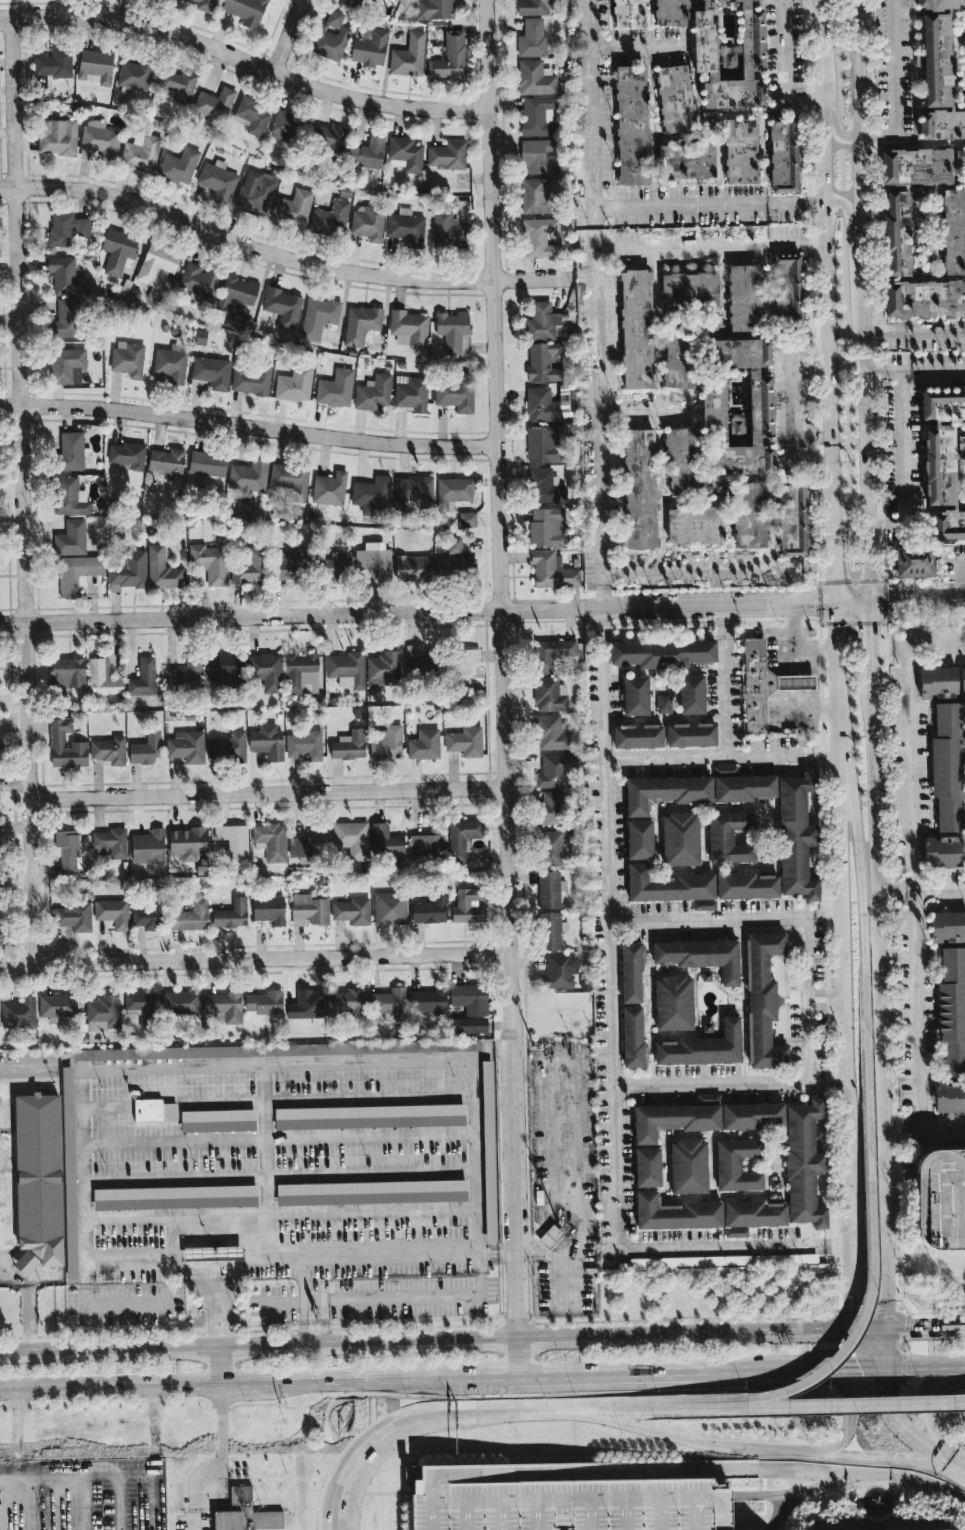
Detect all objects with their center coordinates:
building: (352, 2)
building: (205, 5)
building: (535, 6)
building: (435, 9)
building: (246, 11)
building: (672, 12)
building: (629, 13)
road: (288, 36)
building: (332, 36)
building: (532, 38)
building: (370, 47)
road: (636, 51)
building: (730, 53)
building: (409, 56)
building: (451, 57)
road: (245, 60)
building: (54, 66)
building: (96, 66)
road: (783, 68)
building: (939, 72)
building: (134, 75)
building: (535, 78)
building: (179, 85)
road: (894, 85)
building: (675, 98)
road: (859, 99)
road: (832, 100)
building: (215, 104)
building: (252, 116)
building: (538, 116)
building: (632, 125)
building: (58, 137)
building: (331, 138)
building: (99, 141)
building: (741, 151)
building: (141, 152)
building: (368, 153)
building: (406, 154)
building: (784, 154)
building: (448, 155)
building: (539, 156)
building: (960, 160)
building: (686, 161)
building: (179, 166)
building: (917, 166)
building: (218, 182)
building: (256, 192)
building: (537, 196)
road: (707, 207)
building: (293, 208)
building: (330, 218)
building: (368, 222)
road: (862, 222)
building: (407, 227)
building: (67, 228)
building: (448, 231)
road: (850, 231)
building: (954, 231)
building: (898, 234)
building: (540, 237)
road: (708, 246)
building: (119, 251)
road: (278, 255)
road: (826, 260)
road: (863, 260)
building: (158, 267)
building: (67, 276)
building: (201, 279)
building: (690, 290)
building: (788, 291)
building: (236, 295)
building: (745, 298)
building: (925, 299)
road: (591, 304)
building: (283, 307)
building: (319, 317)
building: (67, 318)
building: (542, 322)
building: (361, 324)
building: (410, 328)
building: (637, 329)
building: (454, 331)
road: (914, 331)
building: (681, 354)
building: (129, 359)
building: (544, 362)
building: (171, 365)
building: (67, 366)
road: (915, 370)
building: (210, 374)
building: (252, 379)
building: (295, 384)
building: (336, 389)
building: (374, 393)
building: (411, 393)
building: (455, 395)
road: (788, 401)
road: (642, 405)
building: (546, 406)
building: (738, 407)
road: (249, 426)
road: (867, 438)
building: (545, 445)
building: (72, 451)
building: (127, 456)
building: (167, 461)
building: (945, 461)
building: (677, 463)
building: (207, 464)
road: (904, 464)
building: (248, 479)
building: (291, 479)
building: (546, 486)
building: (330, 488)
road: (25, 491)
building: (633, 491)
building: (454, 492)
building: (413, 493)
building: (372, 496)
building: (70, 497)
building: (743, 517)
building: (468, 519)
building: (780, 520)
building: (685, 526)
building: (547, 527)
building: (71, 538)
building: (454, 545)
building: (375, 560)
building: (915, 560)
road: (834, 561)
road: (962, 561)
road: (715, 562)
building: (211, 563)
building: (290, 565)
building: (336, 567)
building: (252, 568)
building: (414, 568)
building: (457, 568)
building: (163, 570)
building: (128, 571)
building: (552, 571)
building: (77, 573)
road: (960, 580)
road: (917, 600)
road: (852, 602)
traffic signals: (871, 602)
traffic signals: (834, 603)
road: (416, 612)
road: (871, 633)
road: (795, 637)
road: (815, 645)
road: (883, 649)
road: (903, 649)
building: (663, 650)
building: (552, 652)
road: (835, 658)
building: (417, 661)
road: (801, 661)
road: (789, 662)
building: (468, 665)
road: (501, 668)
building: (347, 669)
building: (383, 669)
building: (266, 671)
building: (67, 673)
building: (302, 674)
building: (185, 676)
building: (103, 678)
building: (144, 678)
building: (795, 679)
gas station: (795, 679)
road: (797, 679)
road: (807, 679)
road: (783, 680)
building: (960, 680)
road: (724, 681)
building: (933, 682)
building: (757, 685)
building: (692, 692)
building: (549, 693)
building: (636, 694)
road: (790, 696)
road: (797, 696)
road: (802, 696)
building: (115, 698)
building: (664, 703)
road: (814, 710)
building: (551, 731)
building: (691, 733)
building: (639, 735)
building: (268, 741)
building: (466, 741)
building: (387, 744)
building: (66, 745)
building: (349, 745)
building: (424, 745)
building: (305, 746)
building: (187, 747)
building: (227, 747)
building: (146, 749)
building: (109, 750)
road: (720, 758)
building: (557, 768)
building: (941, 768)
building: (726, 769)
building: (744, 786)
building: (665, 790)
road: (268, 794)
building: (551, 807)
building: (796, 832)
building: (730, 836)
building: (464, 837)
building: (639, 837)
building: (680, 837)
building: (352, 839)
building: (234, 840)
building: (271, 841)
building: (385, 841)
building: (429, 841)
building: (111, 843)
building: (188, 843)
building: (308, 843)
building: (552, 846)
building: (149, 847)
building: (67, 850)
road: (913, 854)
building: (937, 855)
building: (766, 856)
building: (668, 883)
building: (746, 884)
building: (549, 888)
road: (936, 888)
road: (892, 889)
road: (841, 897)
building: (704, 903)
building: (469, 906)
building: (269, 908)
building: (390, 908)
building: (431, 909)
building: (309, 910)
building: (353, 911)
road: (864, 911)
building: (114, 913)
building: (232, 914)
building: (74, 916)
building: (149, 916)
building: (192, 916)
road: (725, 919)
building: (945, 926)
road: (608, 928)
building: (550, 930)
building: (0, 931)
building: (701, 954)
road: (254, 959)
building: (559, 970)
building: (631, 970)
building: (706, 975)
road: (826, 991)
building: (471, 996)
road: (880, 996)
building: (795, 997)
building: (764, 998)
road: (809, 999)
building: (430, 1000)
building: (346, 1001)
building: (389, 1001)
building: (673, 1001)
building: (181, 1002)
building: (265, 1002)
road: (827, 1004)
building: (58, 1005)
building: (143, 1005)
building: (225, 1005)
building: (307, 1005)
building: (19, 1013)
building: (949, 1013)
building: (102, 1014)
building: (708, 1026)
building: (632, 1036)
building: (703, 1045)
building: (277, 1048)
road: (333, 1057)
road: (730, 1085)
road: (368, 1097)
building: (946, 1098)
building: (708, 1099)
road: (224, 1101)
road: (105, 1107)
building: (154, 1110)
building: (751, 1114)
building: (369, 1115)
building: (674, 1118)
building: (218, 1119)
road: (939, 1123)
road: (898, 1124)
road: (369, 1136)
road: (848, 1137)
road: (172, 1142)
building: (489, 1149)
road: (264, 1158)
building: (804, 1161)
building: (737, 1164)
building: (688, 1165)
road: (900, 1165)
building: (648, 1166)
road: (566, 1167)
road: (370, 1172)
building: (70, 1173)
road: (901, 1177)
building: (38, 1178)
road: (173, 1178)
building: (775, 1183)
building: (372, 1190)
building: (175, 1196)
building: (942, 1198)
parking garage: (942, 1198)
road: (865, 1204)
road: (370, 1211)
building: (675, 1211)
building: (754, 1212)
road: (96, 1219)
road: (228, 1230)
road: (194, 1231)
building: (736, 1231)
building: (550, 1235)
road: (736, 1246)
building: (213, 1251)
road: (229, 1251)
road: (195, 1252)
road: (392, 1255)
road: (128, 1256)
road: (568, 1256)
building: (723, 1260)
road: (852, 1260)
road: (13, 1276)
road: (213, 1280)
road: (229, 1296)
road: (422, 1296)
road: (206, 1297)
road: (151, 1303)
traffic signals: (855, 1304)
road: (29, 1313)
road: (861, 1320)
road: (926, 1327)
traffic signals: (912, 1328)
road: (443, 1338)
road: (221, 1339)
road: (887, 1347)
road: (860, 1348)
road: (520, 1357)
road: (221, 1365)
road: (926, 1366)
road: (827, 1369)
traffic signals: (832, 1369)
road: (645, 1378)
road: (486, 1379)
traffic signals: (886, 1384)
road: (225, 1385)
road: (847, 1392)
road: (948, 1398)
road: (929, 1402)
road: (963, 1402)
road: (963, 1403)
road: (823, 1405)
road: (655, 1408)
road: (583, 1410)
road: (931, 1410)
road: (520, 1412)
road: (462, 1414)
road: (898, 1421)
road: (637, 1430)
road: (357, 1452)
road: (777, 1454)
road: (221, 1455)
road: (894, 1460)
road: (955, 1464)
road: (668, 1469)
road: (93, 1471)
road: (16, 1474)
road: (848, 1477)
road: (221, 1487)
airport: (507, 1490)
parking lot: (82, 1495)
road: (118, 1500)
road: (154, 1500)
road: (86, 1501)
building: (547, 1501)
road: (1, 1502)
parking lot: (561, 1503)
building: (246, 1513)
road: (195, 1520)

